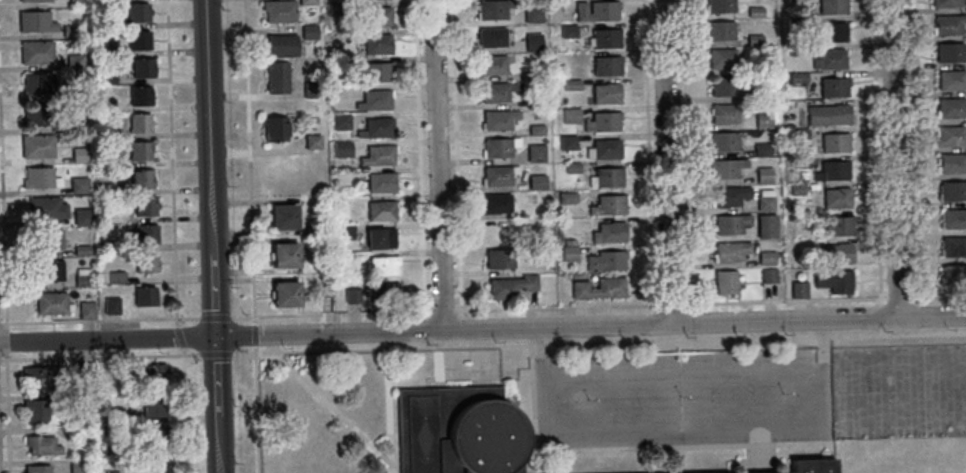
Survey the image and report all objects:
building: (29, 0)
building: (794, 0)
building: (75, 2)
building: (307, 2)
building: (946, 3)
building: (720, 5)
building: (831, 6)
building: (338, 8)
building: (493, 8)
building: (279, 10)
building: (138, 11)
building: (595, 11)
building: (754, 12)
building: (532, 13)
building: (377, 16)
building: (35, 21)
building: (103, 21)
building: (794, 25)
building: (948, 25)
building: (71, 31)
building: (308, 31)
building: (567, 31)
building: (719, 31)
building: (831, 32)
building: (491, 36)
building: (605, 38)
building: (139, 40)
building: (753, 40)
building: (533, 42)
building: (377, 44)
building: (282, 45)
building: (104, 49)
building: (796, 50)
building: (36, 52)
building: (949, 52)
building: (721, 58)
building: (74, 60)
building: (829, 60)
building: (339, 63)
building: (491, 65)
building: (605, 66)
building: (755, 66)
building: (142, 68)
building: (375, 71)
building: (534, 73)
building: (276, 76)
building: (796, 77)
building: (106, 79)
building: (951, 80)
building: (37, 83)
building: (571, 84)
building: (724, 87)
building: (833, 87)
building: (311, 89)
building: (496, 91)
building: (349, 92)
building: (605, 93)
building: (759, 95)
building: (140, 96)
building: (374, 99)
building: (535, 101)
building: (105, 105)
building: (950, 108)
building: (726, 113)
building: (36, 115)
building: (569, 115)
building: (827, 115)
building: (764, 117)
building: (498, 119)
building: (340, 121)
building: (602, 122)
building: (139, 123)
building: (377, 128)
building: (274, 129)
building: (536, 129)
building: (108, 133)
building: (798, 133)
building: (949, 135)
building: (543, 140)
building: (312, 141)
building: (566, 142)
building: (723, 142)
building: (834, 143)
building: (37, 146)
building: (499, 146)
building: (342, 149)
building: (605, 149)
building: (761, 149)
road: (911, 149)
building: (139, 151)
building: (536, 153)
building: (78, 155)
building: (378, 156)
road: (893, 158)
building: (801, 161)
road: (649, 162)
road: (665, 162)
road: (685, 162)
building: (951, 163)
road: (458, 164)
road: (437, 165)
road: (420, 166)
building: (571, 167)
road: (211, 168)
building: (725, 168)
road: (876, 169)
building: (831, 171)
building: (498, 174)
building: (763, 175)
building: (38, 177)
building: (142, 178)
building: (605, 178)
building: (380, 182)
building: (536, 182)
building: (79, 185)
building: (104, 188)
building: (796, 189)
building: (953, 191)
building: (729, 195)
building: (566, 197)
building: (836, 198)
building: (765, 200)
building: (495, 203)
building: (145, 205)
building: (607, 205)
building: (46, 209)
building: (381, 211)
building: (285, 216)
building: (82, 217)
building: (954, 218)
building: (730, 223)
building: (838, 225)
building: (766, 226)
building: (313, 229)
building: (501, 231)
building: (143, 232)
building: (345, 232)
building: (608, 232)
road: (252, 236)
road: (174, 237)
building: (380, 237)
building: (48, 240)
building: (111, 245)
building: (953, 246)
building: (82, 250)
building: (568, 251)
building: (731, 251)
building: (838, 253)
building: (286, 254)
building: (499, 258)
building: (766, 258)
building: (605, 260)
building: (146, 263)
building: (383, 265)
building: (47, 271)
building: (82, 272)
building: (953, 274)
building: (768, 275)
building: (116, 277)
road: (5, 280)
building: (82, 280)
building: (834, 280)
building: (725, 282)
building: (511, 285)
building: (598, 288)
building: (798, 289)
building: (385, 292)
building: (286, 294)
building: (352, 295)
building: (144, 296)
building: (52, 302)
building: (111, 306)
building: (87, 309)
road: (610, 309)
road: (127, 322)
road: (704, 323)
road: (221, 336)
traffic signals: (215, 337)
road: (482, 348)
building: (81, 370)
building: (150, 373)
building: (40, 377)
road: (781, 377)
road: (581, 383)
building: (81, 401)
building: (154, 404)
road: (216, 404)
building: (36, 411)
building: (113, 414)
building: (73, 431)
building: (459, 432)
building: (155, 435)
building: (42, 445)
building: (78, 465)
building: (154, 465)
building: (815, 466)
building: (37, 469)
building: (115, 472)

